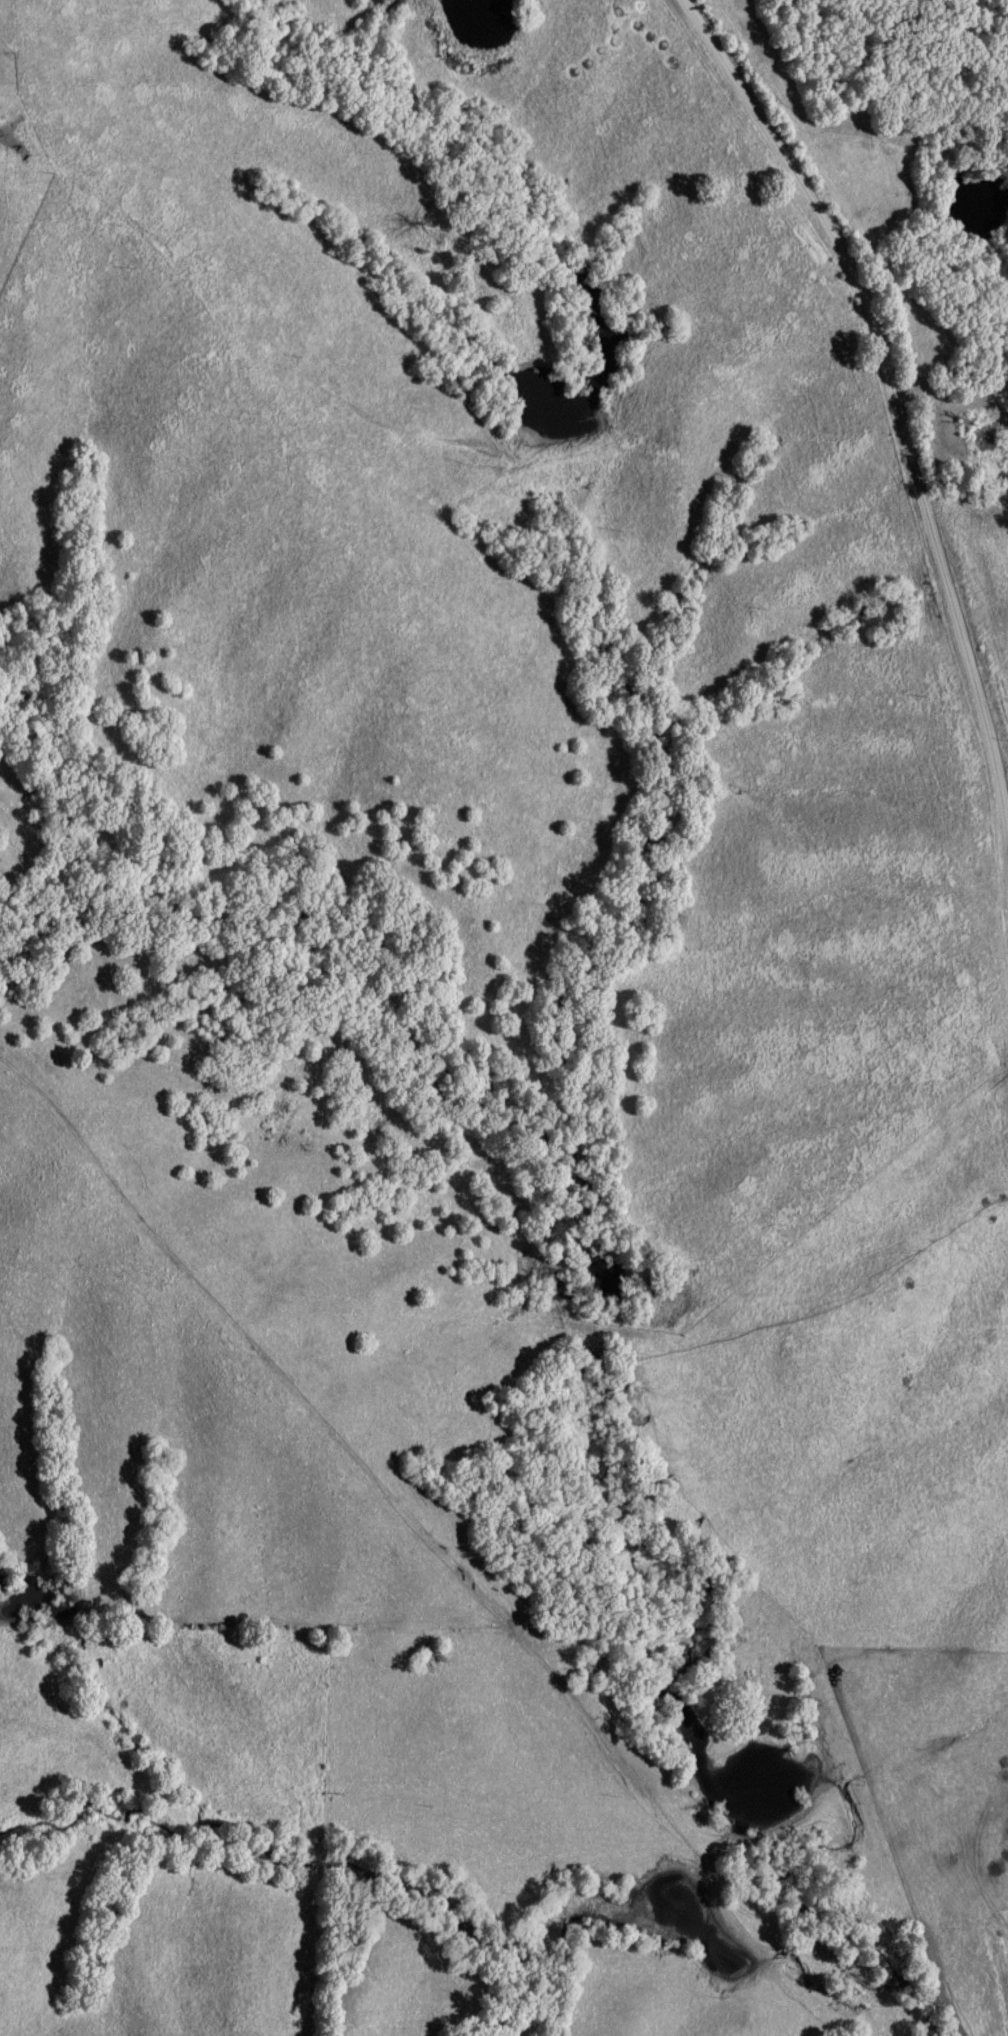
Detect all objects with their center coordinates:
road: (896, 396)

